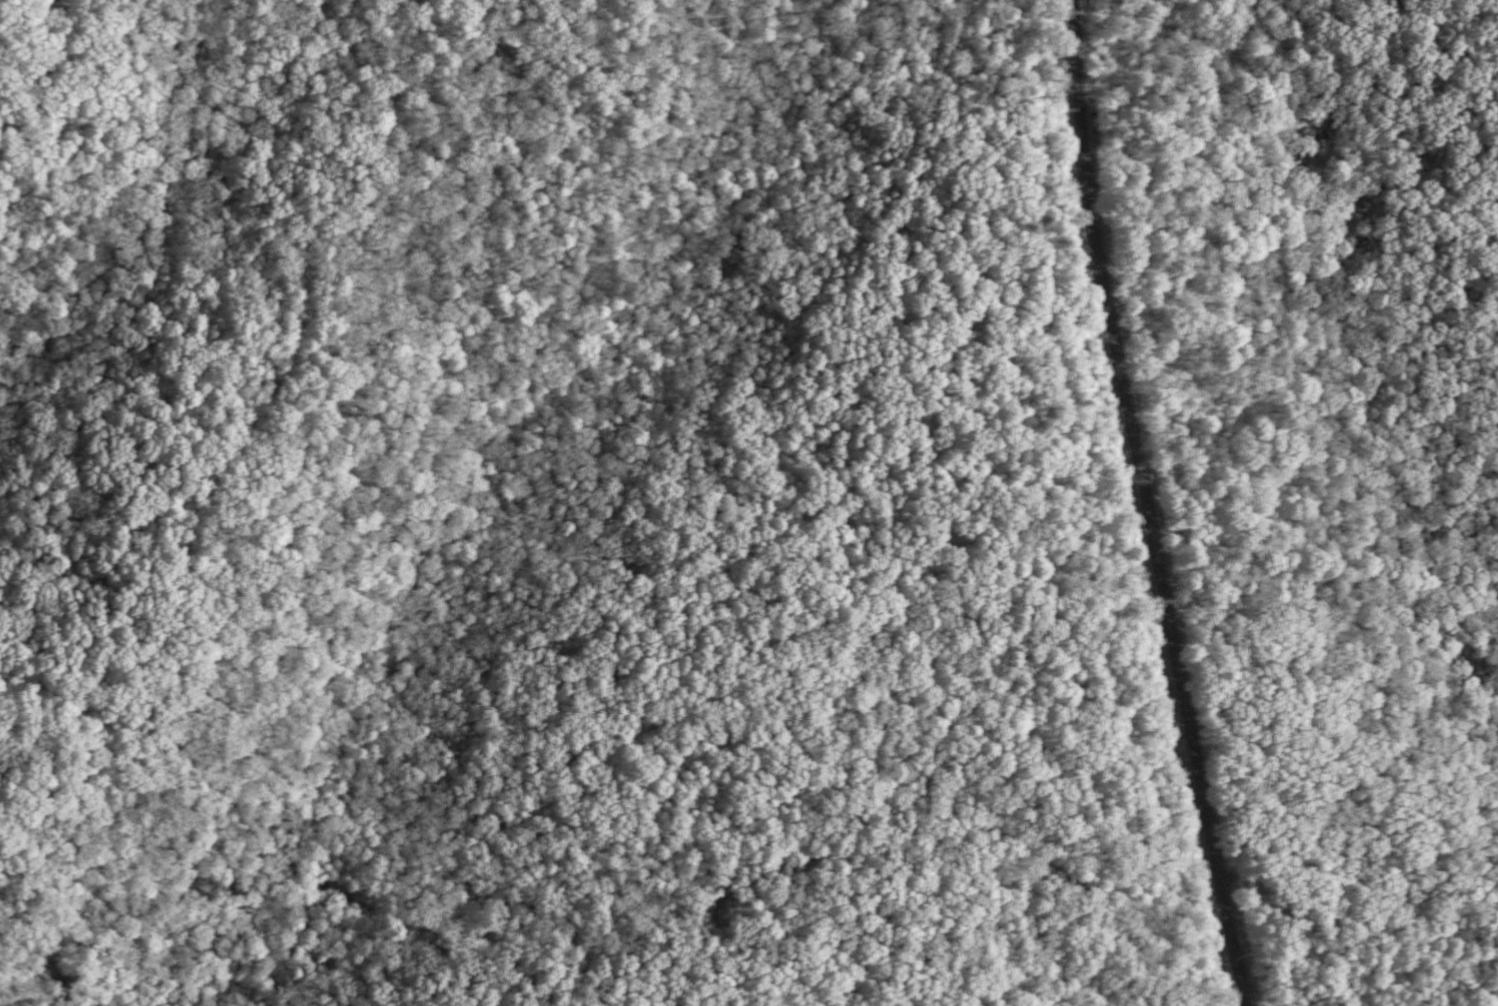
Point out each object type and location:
road: (1145, 505)

